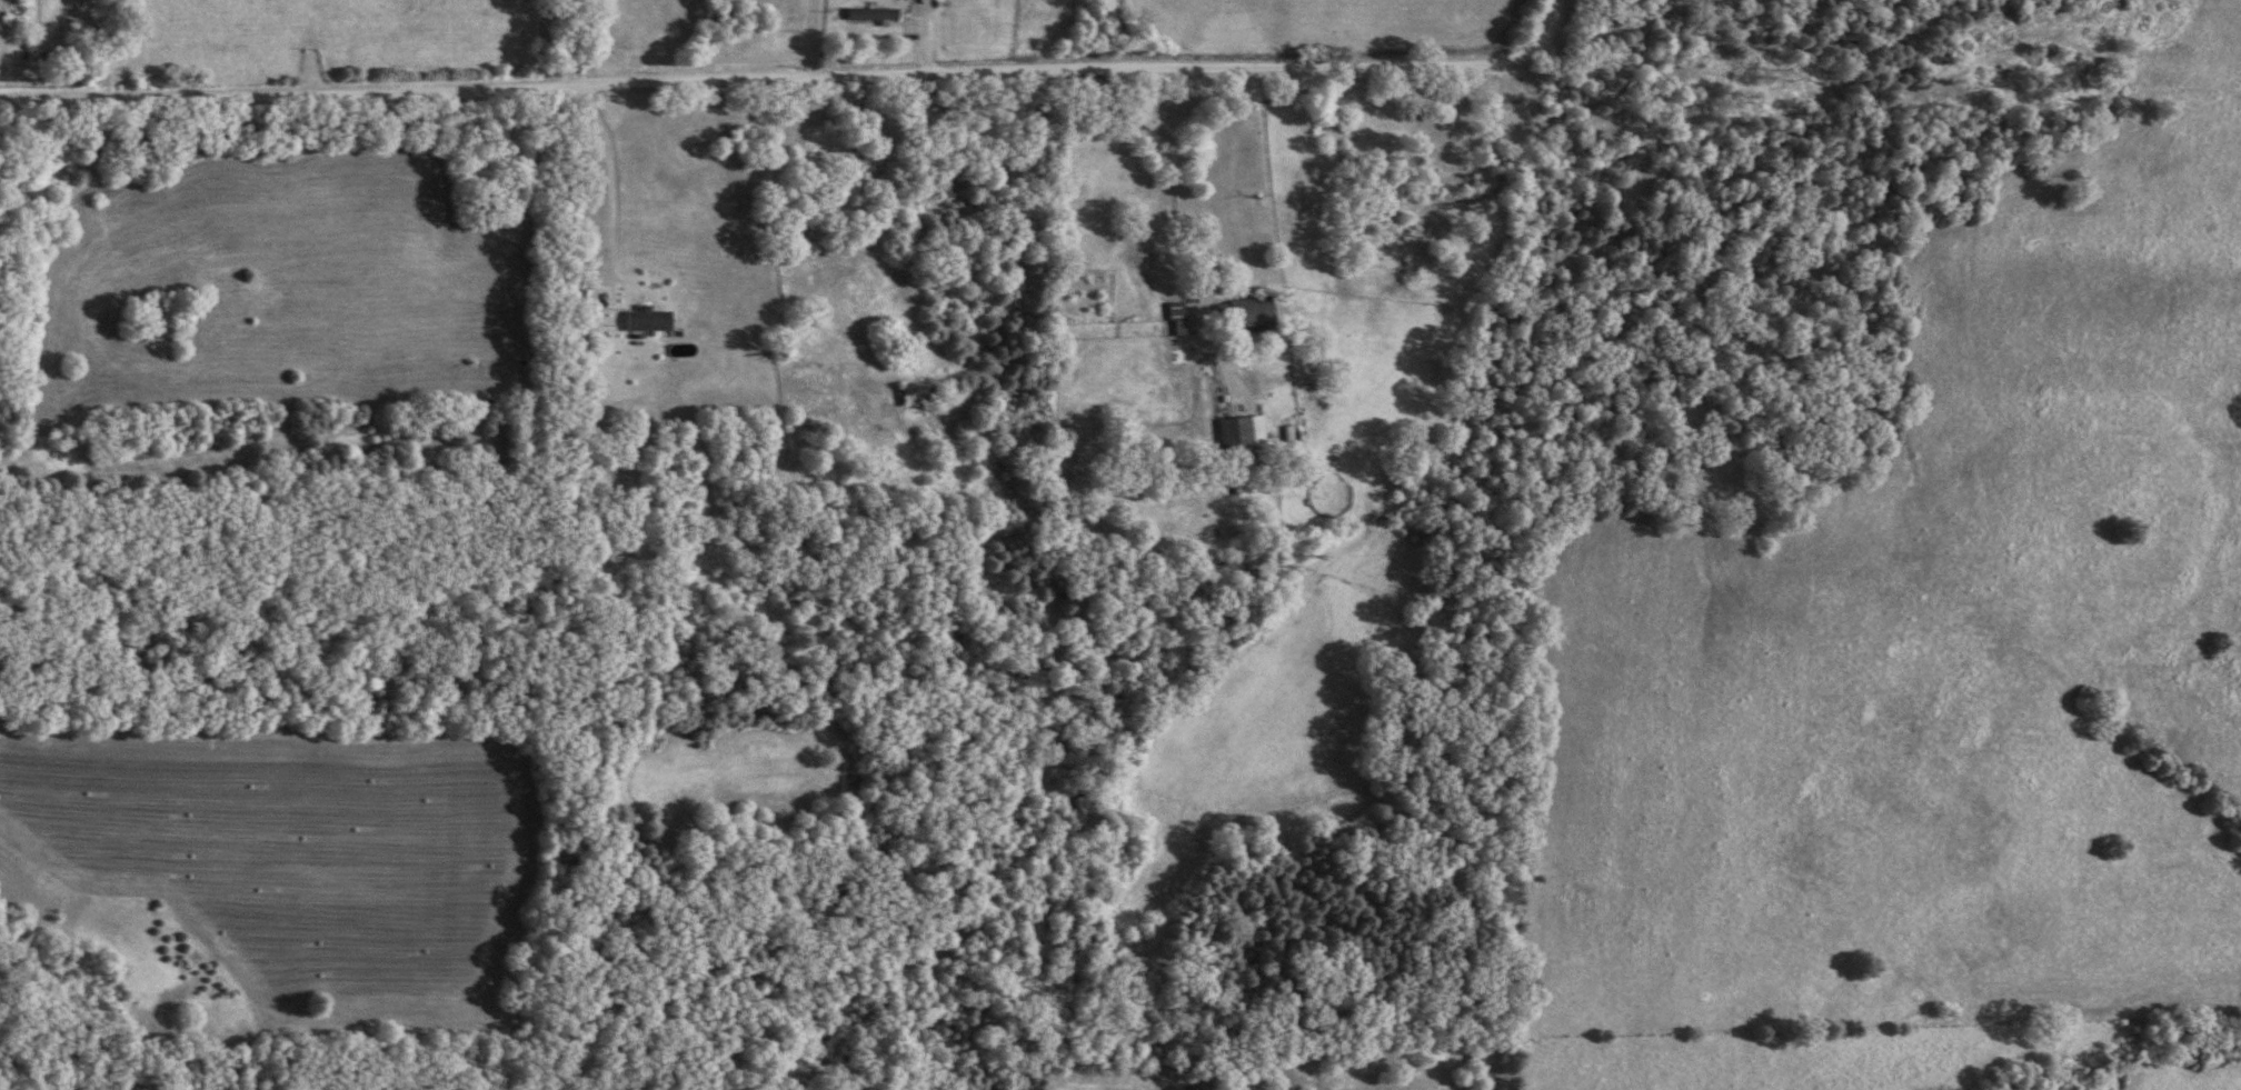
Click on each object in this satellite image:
building: (871, 12)
road: (816, 39)
road: (797, 78)
road: (1187, 174)
road: (615, 182)
building: (1245, 310)
building: (580, 312)
building: (1175, 317)
building: (641, 318)
building: (1237, 431)
building: (360, 1089)

